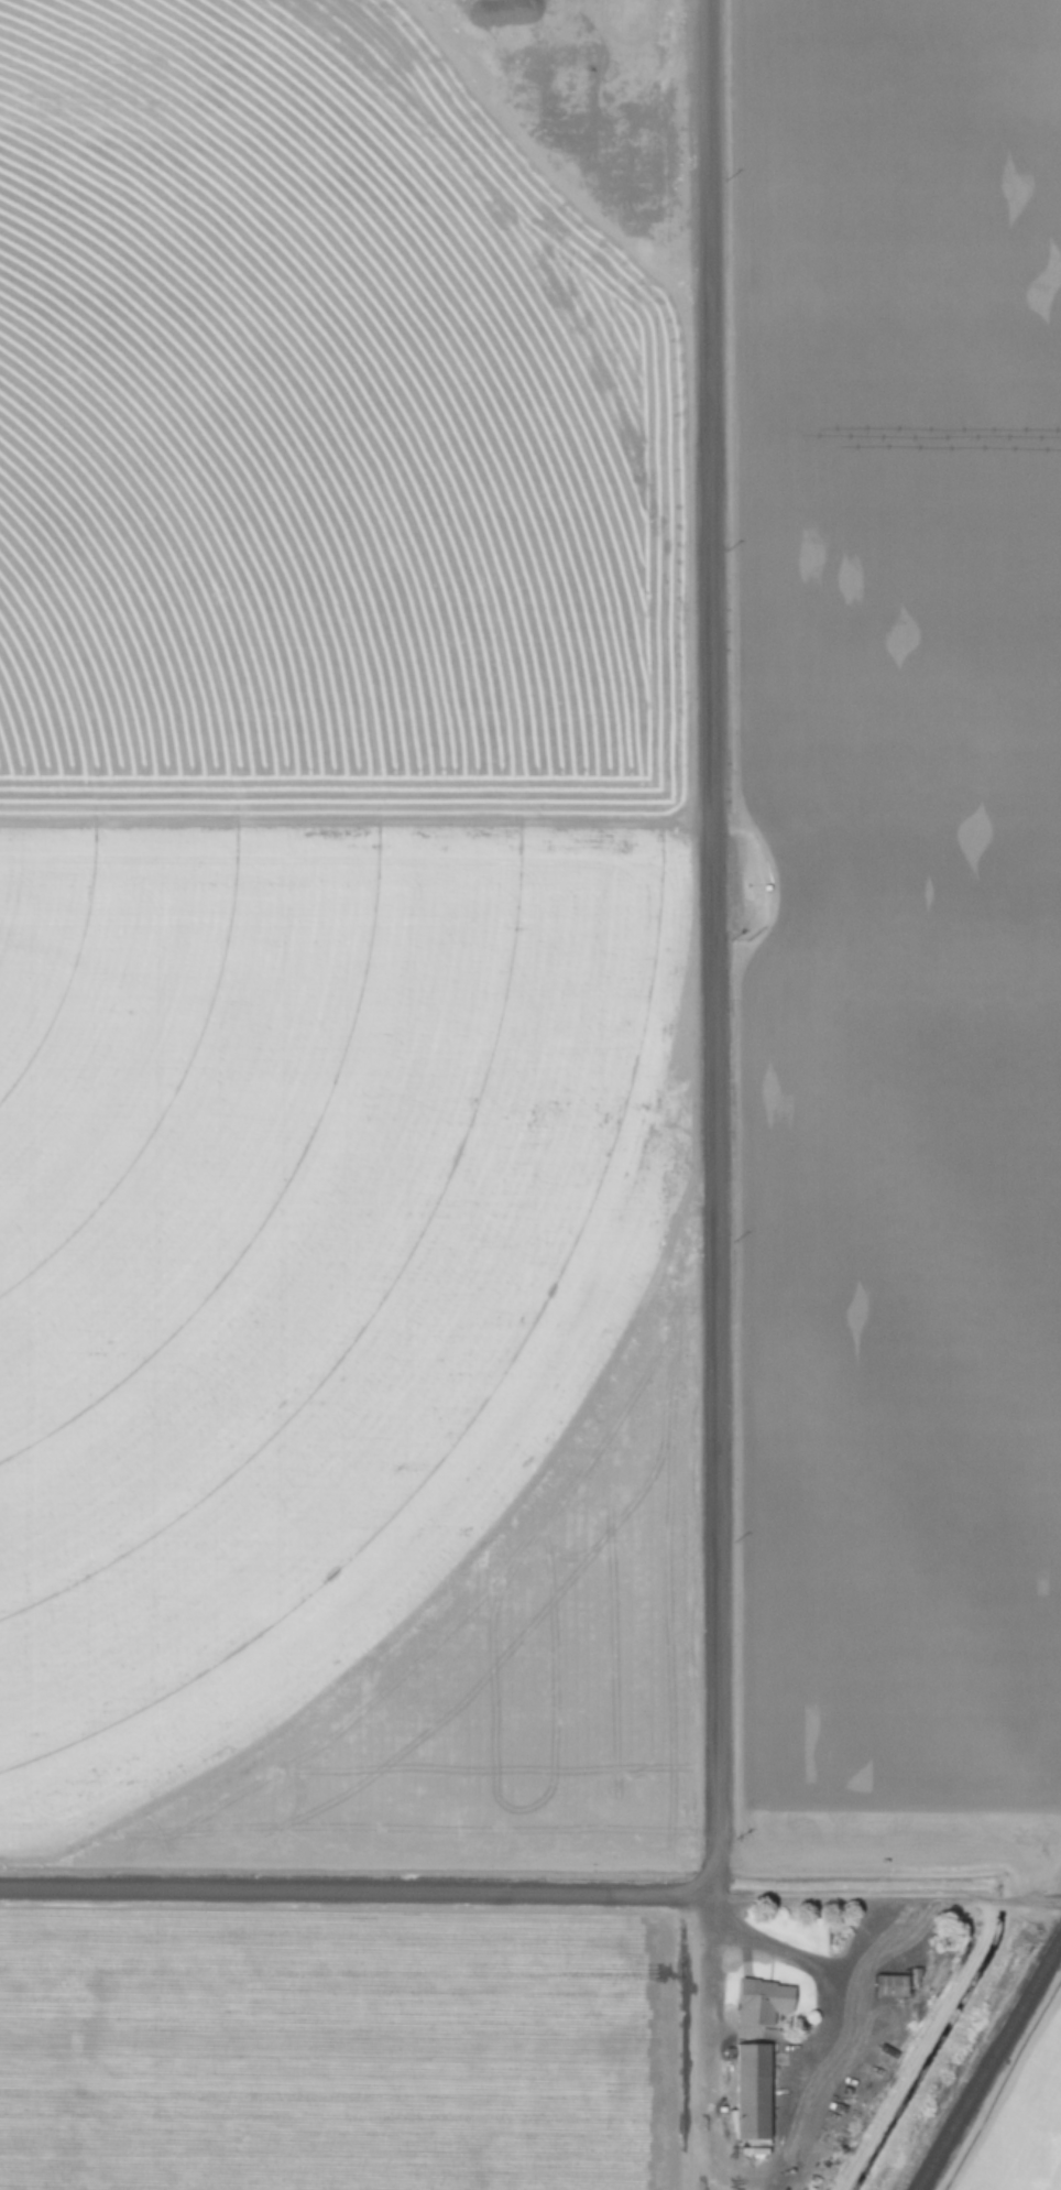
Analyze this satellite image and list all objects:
crop: (287, 846)
road: (708, 935)
road: (709, 1877)
road: (709, 1891)
road: (530, 1894)
road: (708, 1911)
building: (757, 2001)
crop: (337, 2051)
railway: (988, 2063)
building: (752, 2093)
crop: (1027, 2132)

